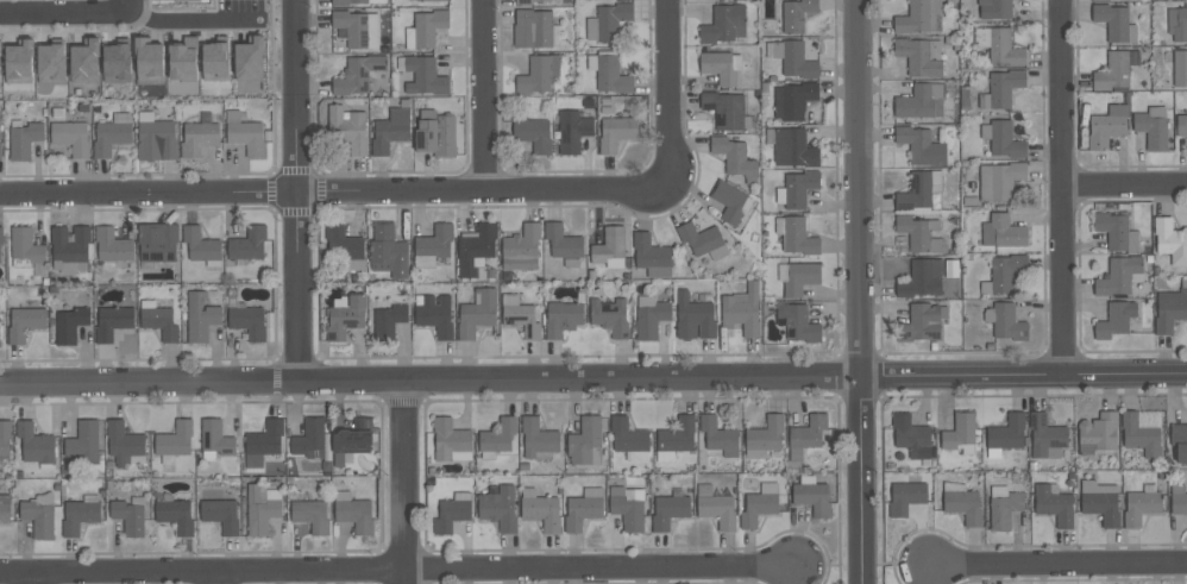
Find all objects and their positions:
building: (175, 0)
building: (1100, 0)
building: (350, 1)
building: (994, 8)
building: (796, 13)
road: (65, 14)
building: (919, 17)
road: (189, 19)
building: (611, 20)
building: (1113, 21)
building: (724, 24)
building: (1177, 24)
building: (428, 26)
building: (352, 27)
building: (533, 27)
building: (0, 43)
building: (999, 45)
building: (921, 55)
building: (149, 59)
building: (183, 59)
building: (249, 59)
building: (84, 61)
building: (215, 61)
building: (797, 61)
building: (19, 62)
building: (117, 62)
building: (51, 63)
building: (718, 67)
building: (1180, 68)
building: (1116, 69)
building: (358, 74)
building: (535, 74)
building: (613, 75)
building: (425, 76)
building: (1004, 87)
road: (670, 93)
road: (484, 95)
building: (795, 100)
building: (918, 103)
building: (724, 109)
building: (1181, 125)
building: (1107, 126)
building: (347, 128)
building: (391, 130)
building: (573, 131)
building: (1151, 131)
building: (616, 132)
building: (244, 133)
building: (435, 133)
building: (533, 134)
building: (71, 137)
building: (111, 137)
building: (199, 138)
building: (1005, 139)
building: (23, 140)
building: (157, 140)
building: (921, 144)
building: (793, 149)
building: (0, 150)
building: (734, 156)
building: (999, 180)
road: (1125, 182)
road: (1063, 187)
building: (800, 188)
road: (296, 189)
road: (335, 190)
building: (915, 191)
building: (729, 200)
building: (1003, 232)
building: (1117, 232)
building: (918, 233)
building: (1, 234)
building: (798, 237)
building: (699, 239)
building: (435, 240)
building: (1170, 240)
building: (158, 241)
building: (341, 241)
building: (564, 241)
building: (249, 243)
building: (113, 244)
building: (609, 244)
building: (26, 245)
building: (201, 245)
building: (476, 247)
building: (69, 249)
building: (521, 249)
building: (649, 251)
building: (388, 252)
building: (1006, 272)
building: (1119, 275)
building: (800, 277)
building: (921, 278)
road: (859, 291)
building: (742, 309)
building: (1170, 309)
building: (477, 313)
building: (435, 315)
building: (200, 316)
building: (346, 316)
building: (389, 316)
building: (610, 316)
building: (693, 316)
building: (522, 319)
building: (561, 319)
building: (651, 319)
building: (1116, 320)
building: (159, 321)
building: (25, 322)
building: (113, 322)
building: (249, 322)
building: (797, 322)
building: (1007, 322)
building: (923, 324)
building: (70, 325)
road: (1023, 375)
road: (429, 382)
building: (959, 431)
building: (766, 433)
building: (1007, 433)
building: (1098, 433)
building: (500, 434)
building: (1045, 434)
building: (628, 435)
building: (677, 435)
building: (806, 435)
building: (911, 435)
building: (5, 437)
building: (718, 437)
building: (1141, 437)
building: (216, 438)
building: (353, 438)
building: (536, 438)
building: (265, 439)
building: (310, 439)
building: (450, 439)
building: (175, 440)
building: (584, 440)
building: (1179, 440)
building: (34, 442)
building: (84, 442)
building: (123, 444)
road: (404, 483)
building: (812, 497)
building: (905, 497)
building: (1177, 500)
building: (1054, 504)
building: (963, 505)
building: (715, 507)
building: (1101, 507)
building: (1141, 507)
building: (758, 508)
building: (5, 509)
building: (500, 509)
building: (1005, 509)
building: (542, 510)
building: (582, 510)
building: (628, 510)
building: (668, 510)
building: (260, 511)
building: (221, 514)
building: (312, 514)
building: (356, 514)
building: (452, 514)
building: (175, 515)
building: (80, 516)
building: (128, 516)
building: (39, 519)
road: (1059, 566)
road: (396, 572)
road: (33, 580)
road: (219, 580)

